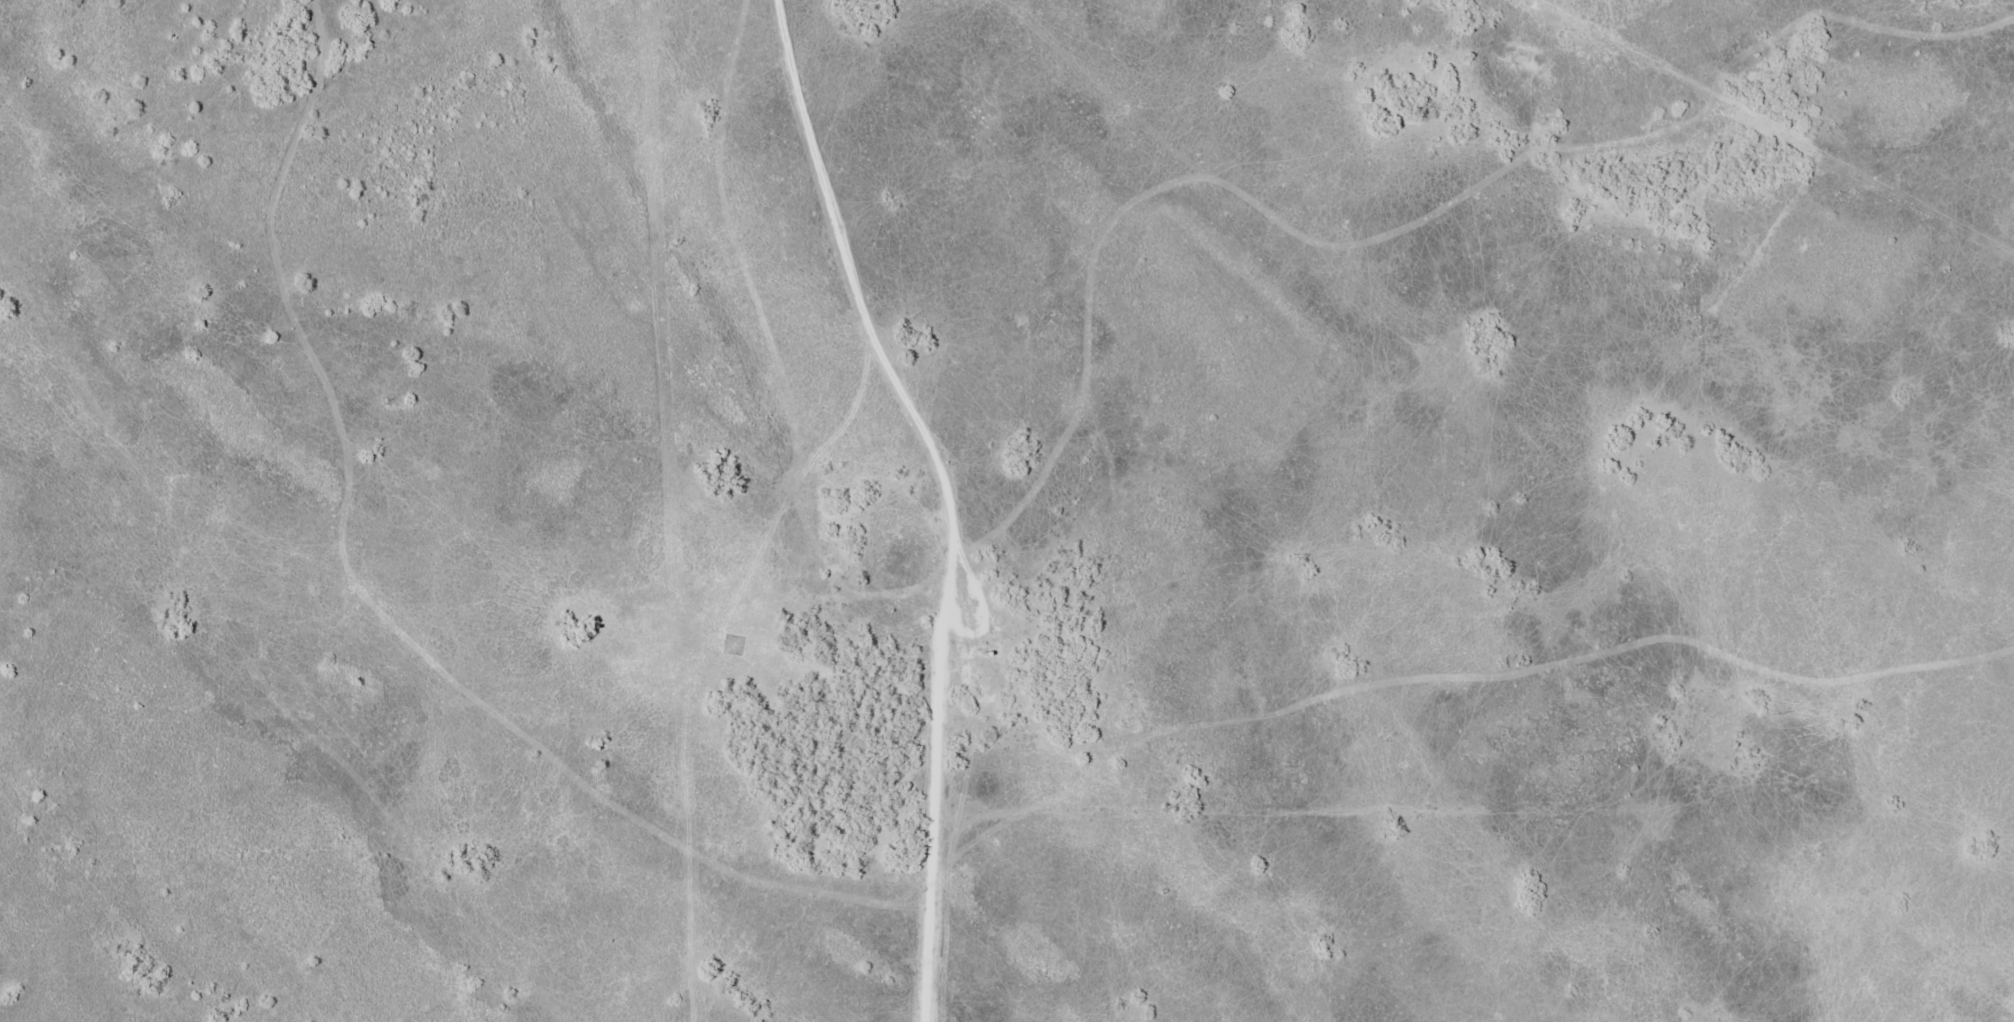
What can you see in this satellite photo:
road: (966, 757)

